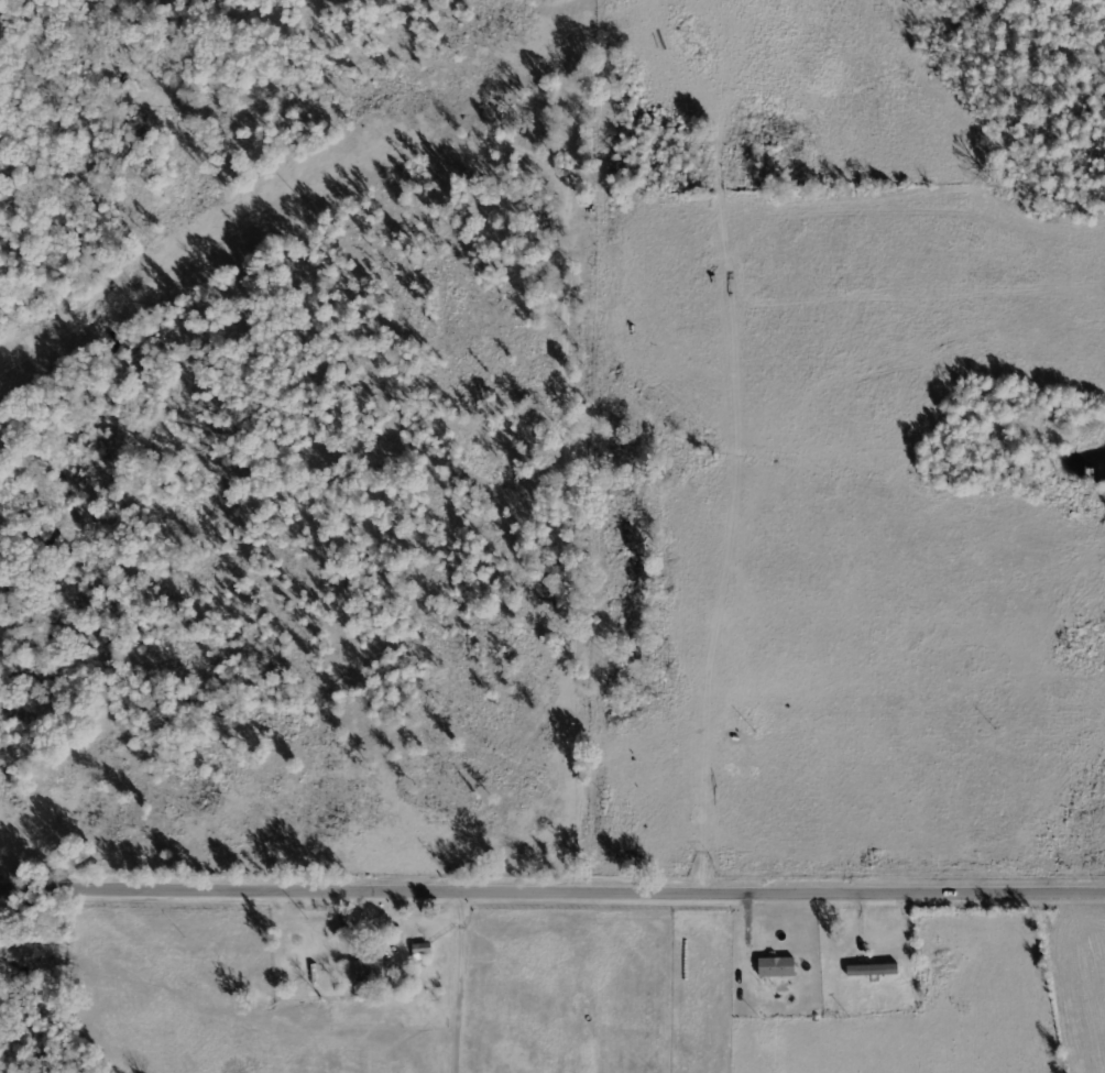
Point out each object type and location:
road: (552, 886)
building: (422, 951)
building: (777, 966)
building: (373, 970)
building: (873, 970)
road: (959, 981)

